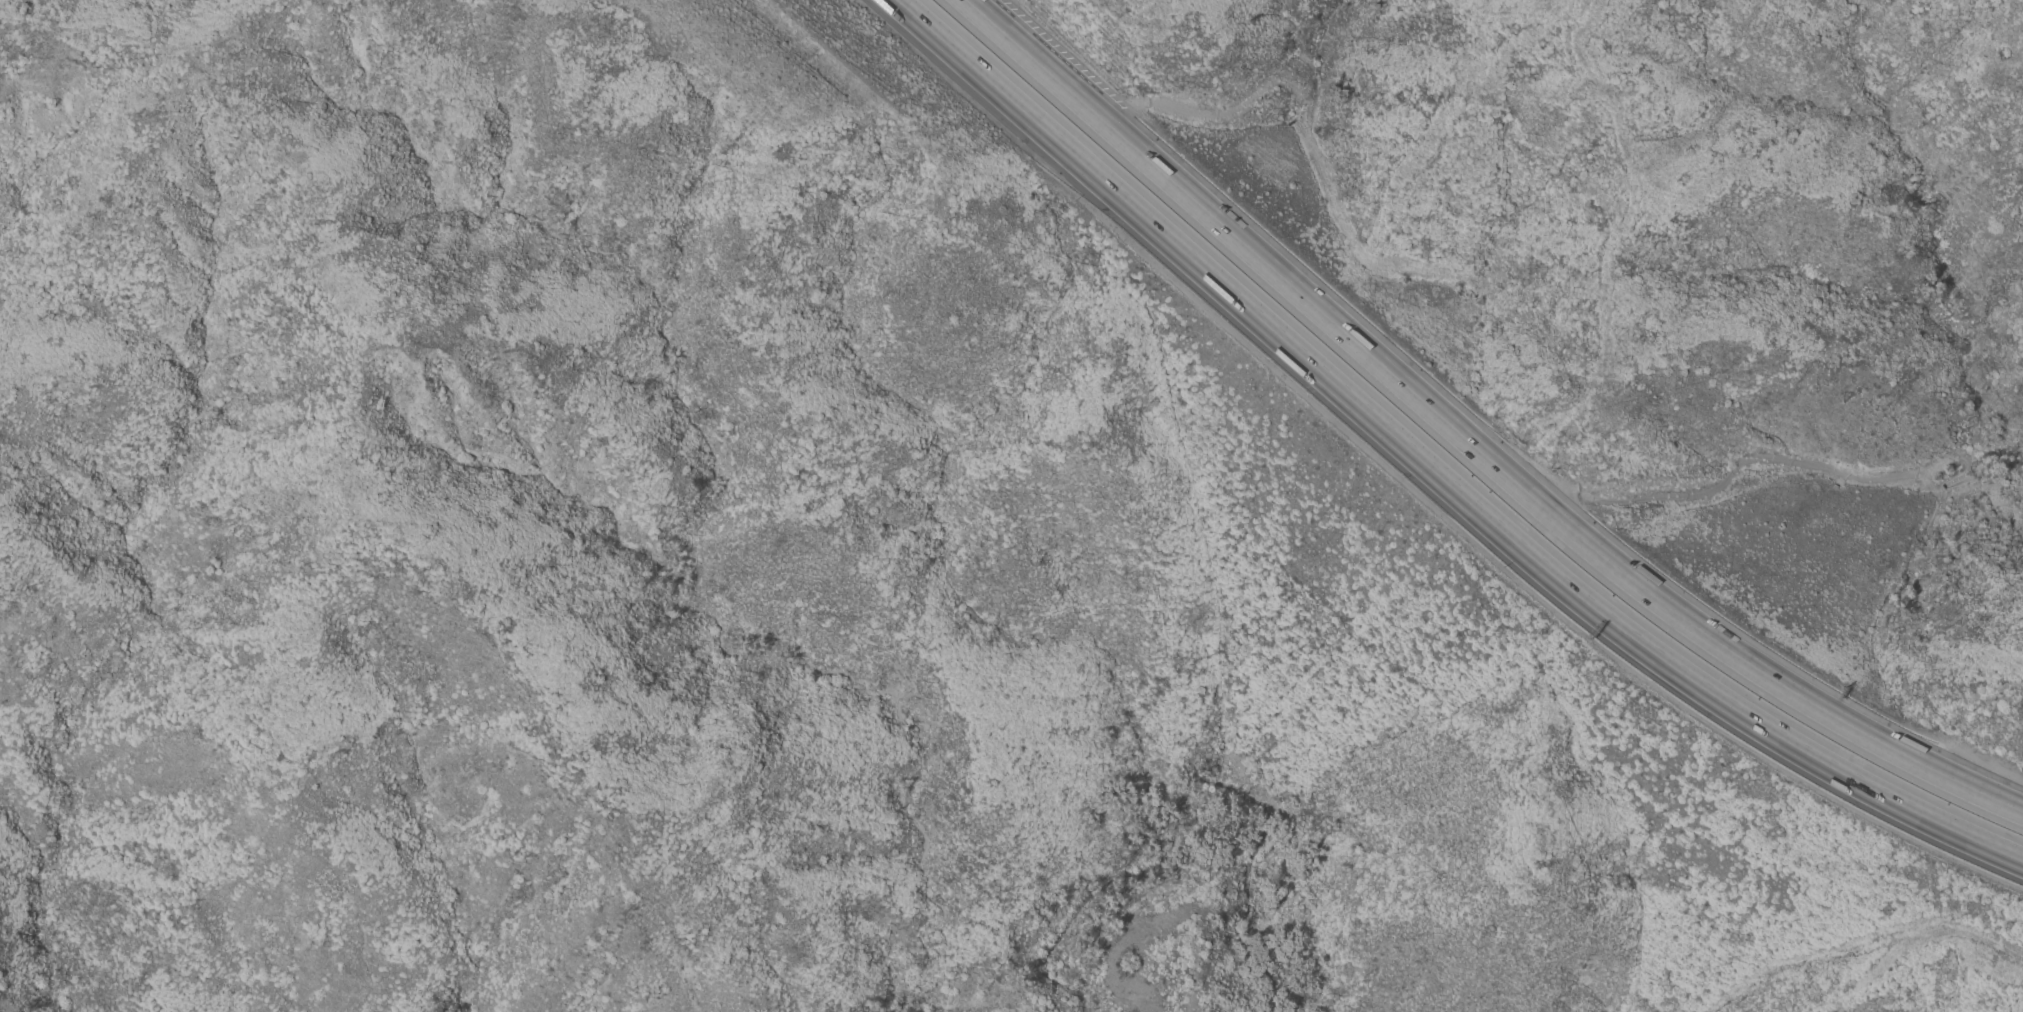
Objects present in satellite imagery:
road: (1474, 434)
road: (1435, 464)

